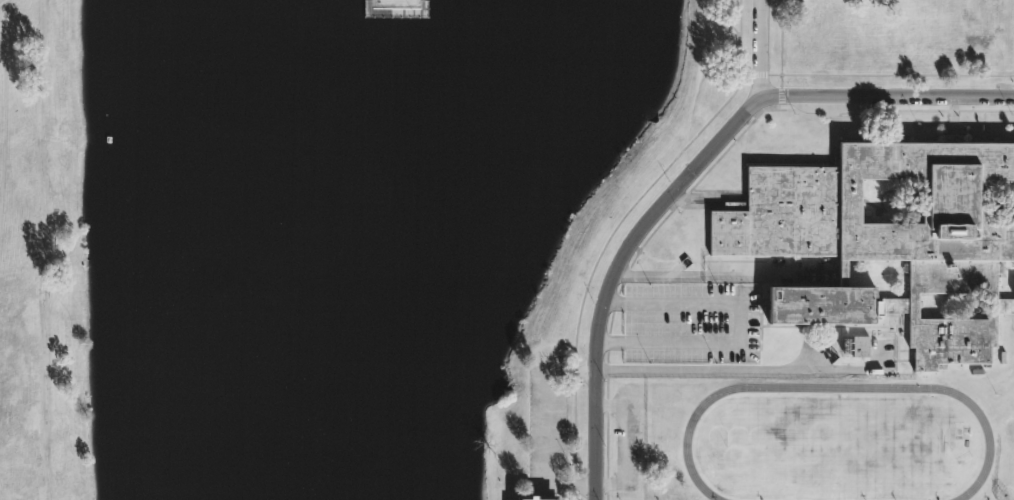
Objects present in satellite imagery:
road: (3, 2)
road: (723, 17)
road: (741, 19)
road: (885, 94)
road: (8, 140)
road: (638, 231)
park: (328, 233)
building: (882, 237)
road: (604, 246)
road: (691, 274)
parking lot: (694, 322)
road: (740, 326)
building: (857, 346)
road: (747, 370)
park: (839, 448)
park: (1005, 464)
building: (539, 498)

